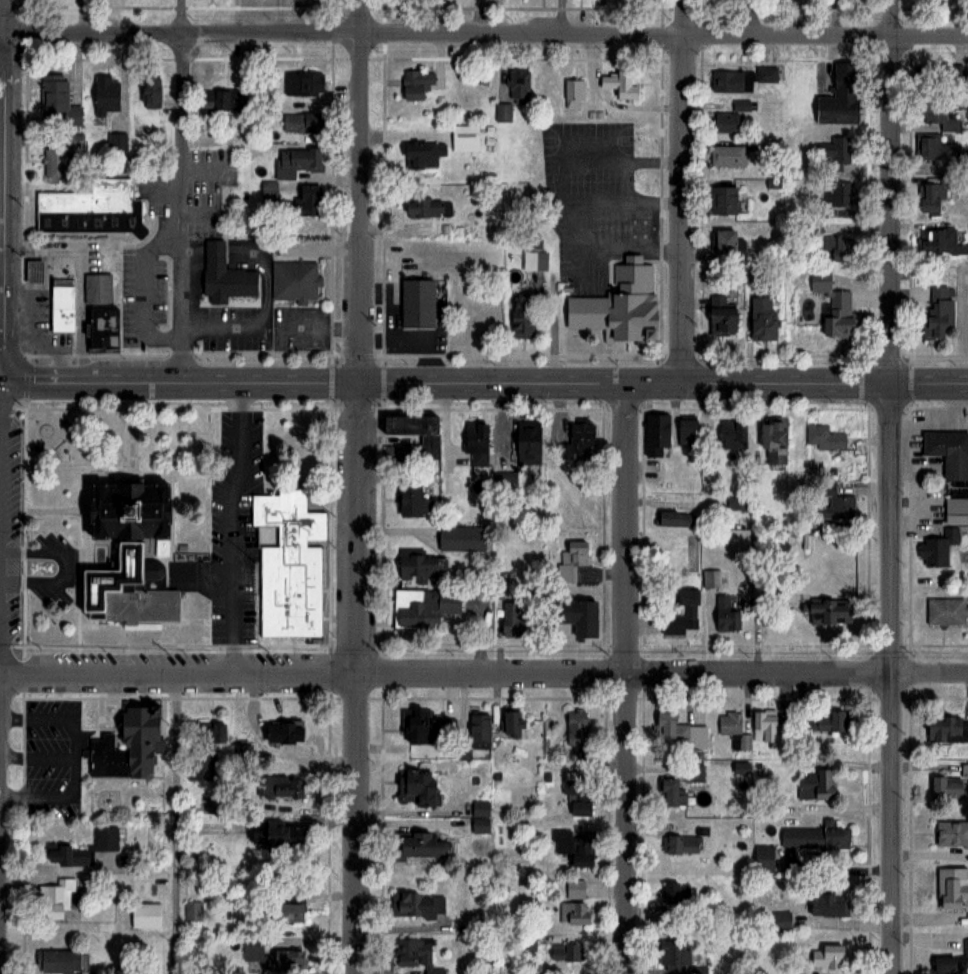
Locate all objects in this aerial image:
road: (181, 16)
road: (1, 17)
road: (1, 34)
road: (485, 35)
building: (766, 74)
building: (301, 82)
building: (731, 82)
building: (517, 84)
building: (411, 85)
building: (619, 85)
building: (148, 90)
building: (103, 94)
building: (573, 94)
building: (838, 97)
building: (217, 98)
building: (56, 101)
building: (502, 111)
building: (941, 113)
building: (299, 121)
building: (724, 123)
building: (73, 139)
building: (116, 142)
building: (934, 148)
building: (422, 153)
building: (835, 153)
building: (727, 155)
building: (299, 158)
building: (53, 162)
building: (268, 189)
road: (359, 190)
road: (892, 190)
road: (683, 191)
building: (838, 193)
building: (929, 197)
building: (722, 199)
building: (304, 201)
road: (0, 206)
road: (180, 207)
building: (427, 207)
building: (89, 209)
building: (935, 240)
building: (723, 242)
building: (835, 247)
building: (534, 260)
building: (32, 269)
building: (223, 275)
building: (294, 280)
road: (142, 291)
building: (61, 302)
building: (415, 302)
building: (617, 304)
building: (832, 306)
building: (937, 310)
building: (99, 312)
building: (520, 315)
building: (718, 316)
building: (761, 325)
road: (0, 380)
road: (484, 382)
road: (0, 429)
building: (414, 430)
building: (685, 431)
building: (655, 434)
building: (731, 434)
building: (824, 437)
building: (772, 440)
building: (577, 441)
building: (475, 442)
building: (526, 442)
building: (948, 451)
building: (410, 497)
building: (936, 501)
building: (839, 505)
building: (673, 519)
road: (237, 527)
building: (456, 534)
building: (133, 559)
building: (571, 560)
building: (287, 566)
building: (417, 566)
building: (421, 606)
building: (946, 611)
building: (726, 612)
building: (828, 612)
building: (681, 614)
building: (574, 615)
building: (509, 618)
road: (484, 673)
road: (355, 677)
road: (626, 677)
road: (891, 677)
building: (825, 720)
building: (729, 723)
building: (478, 724)
building: (509, 724)
building: (426, 726)
building: (669, 727)
building: (575, 728)
building: (946, 728)
building: (280, 731)
building: (696, 737)
building: (126, 745)
building: (203, 749)
building: (738, 768)
building: (693, 773)
building: (814, 785)
building: (277, 786)
building: (945, 786)
building: (413, 787)
building: (577, 792)
building: (669, 793)
road: (175, 823)
building: (272, 832)
building: (951, 834)
building: (814, 837)
building: (416, 845)
building: (681, 845)
building: (104, 846)
building: (574, 846)
building: (65, 855)
building: (762, 859)
building: (950, 887)
building: (574, 889)
building: (55, 898)
building: (670, 898)
building: (826, 903)
building: (417, 904)
building: (289, 908)
building: (192, 910)
building: (572, 913)
building: (144, 915)
building: (780, 921)
building: (251, 948)
building: (564, 952)
building: (965, 952)
building: (672, 953)
building: (415, 954)
building: (826, 957)
building: (284, 959)
building: (58, 962)
building: (942, 965)
building: (696, 970)

